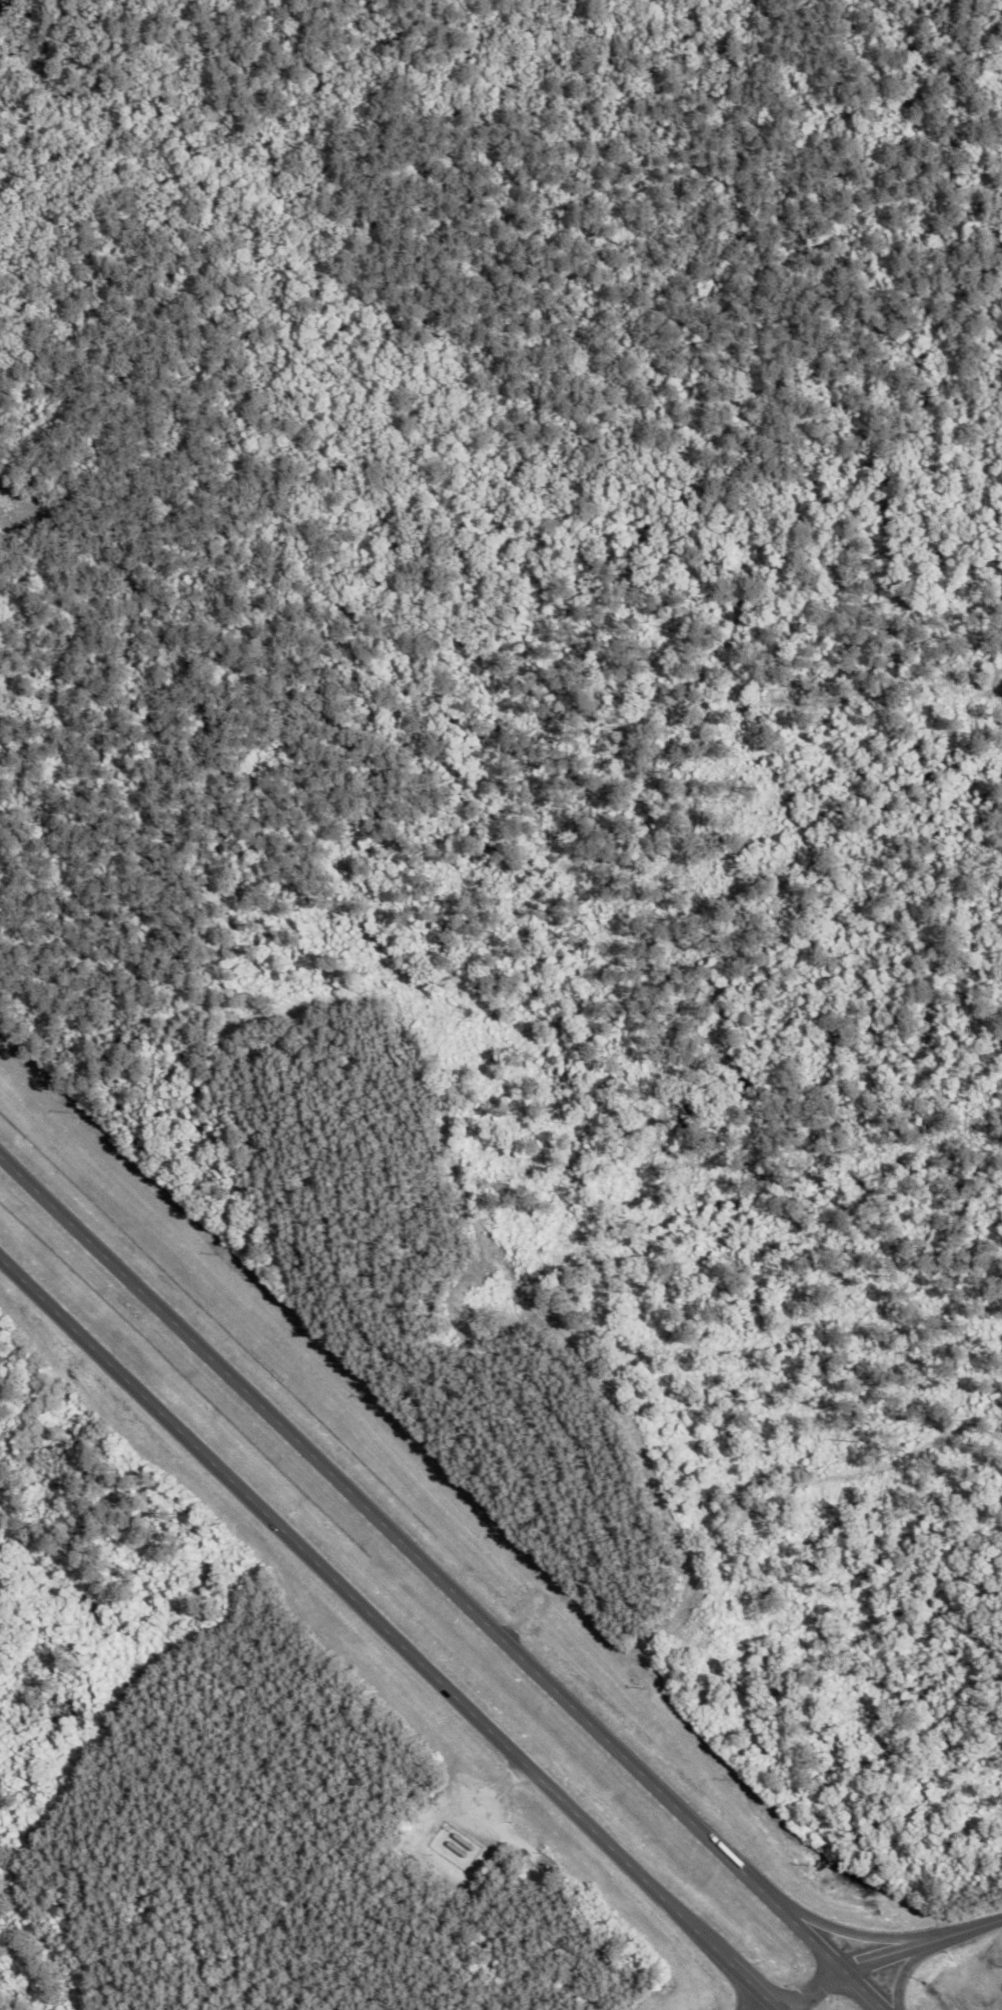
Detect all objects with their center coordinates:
road: (421, 1564)
road: (346, 1595)
road: (493, 1793)
building: (463, 1841)
storage tank: (463, 1841)
building: (456, 1848)
storage tank: (456, 1848)
road: (850, 1933)
road: (923, 1941)
road: (736, 1970)
road: (901, 1974)
road: (814, 1990)
road: (866, 1990)

